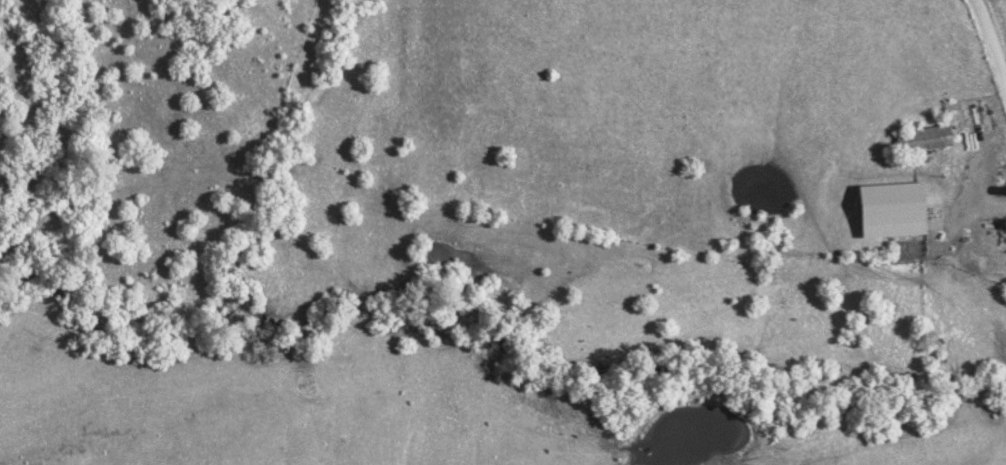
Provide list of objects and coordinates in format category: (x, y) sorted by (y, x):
road: (994, 42)
building: (923, 139)
road: (966, 209)

